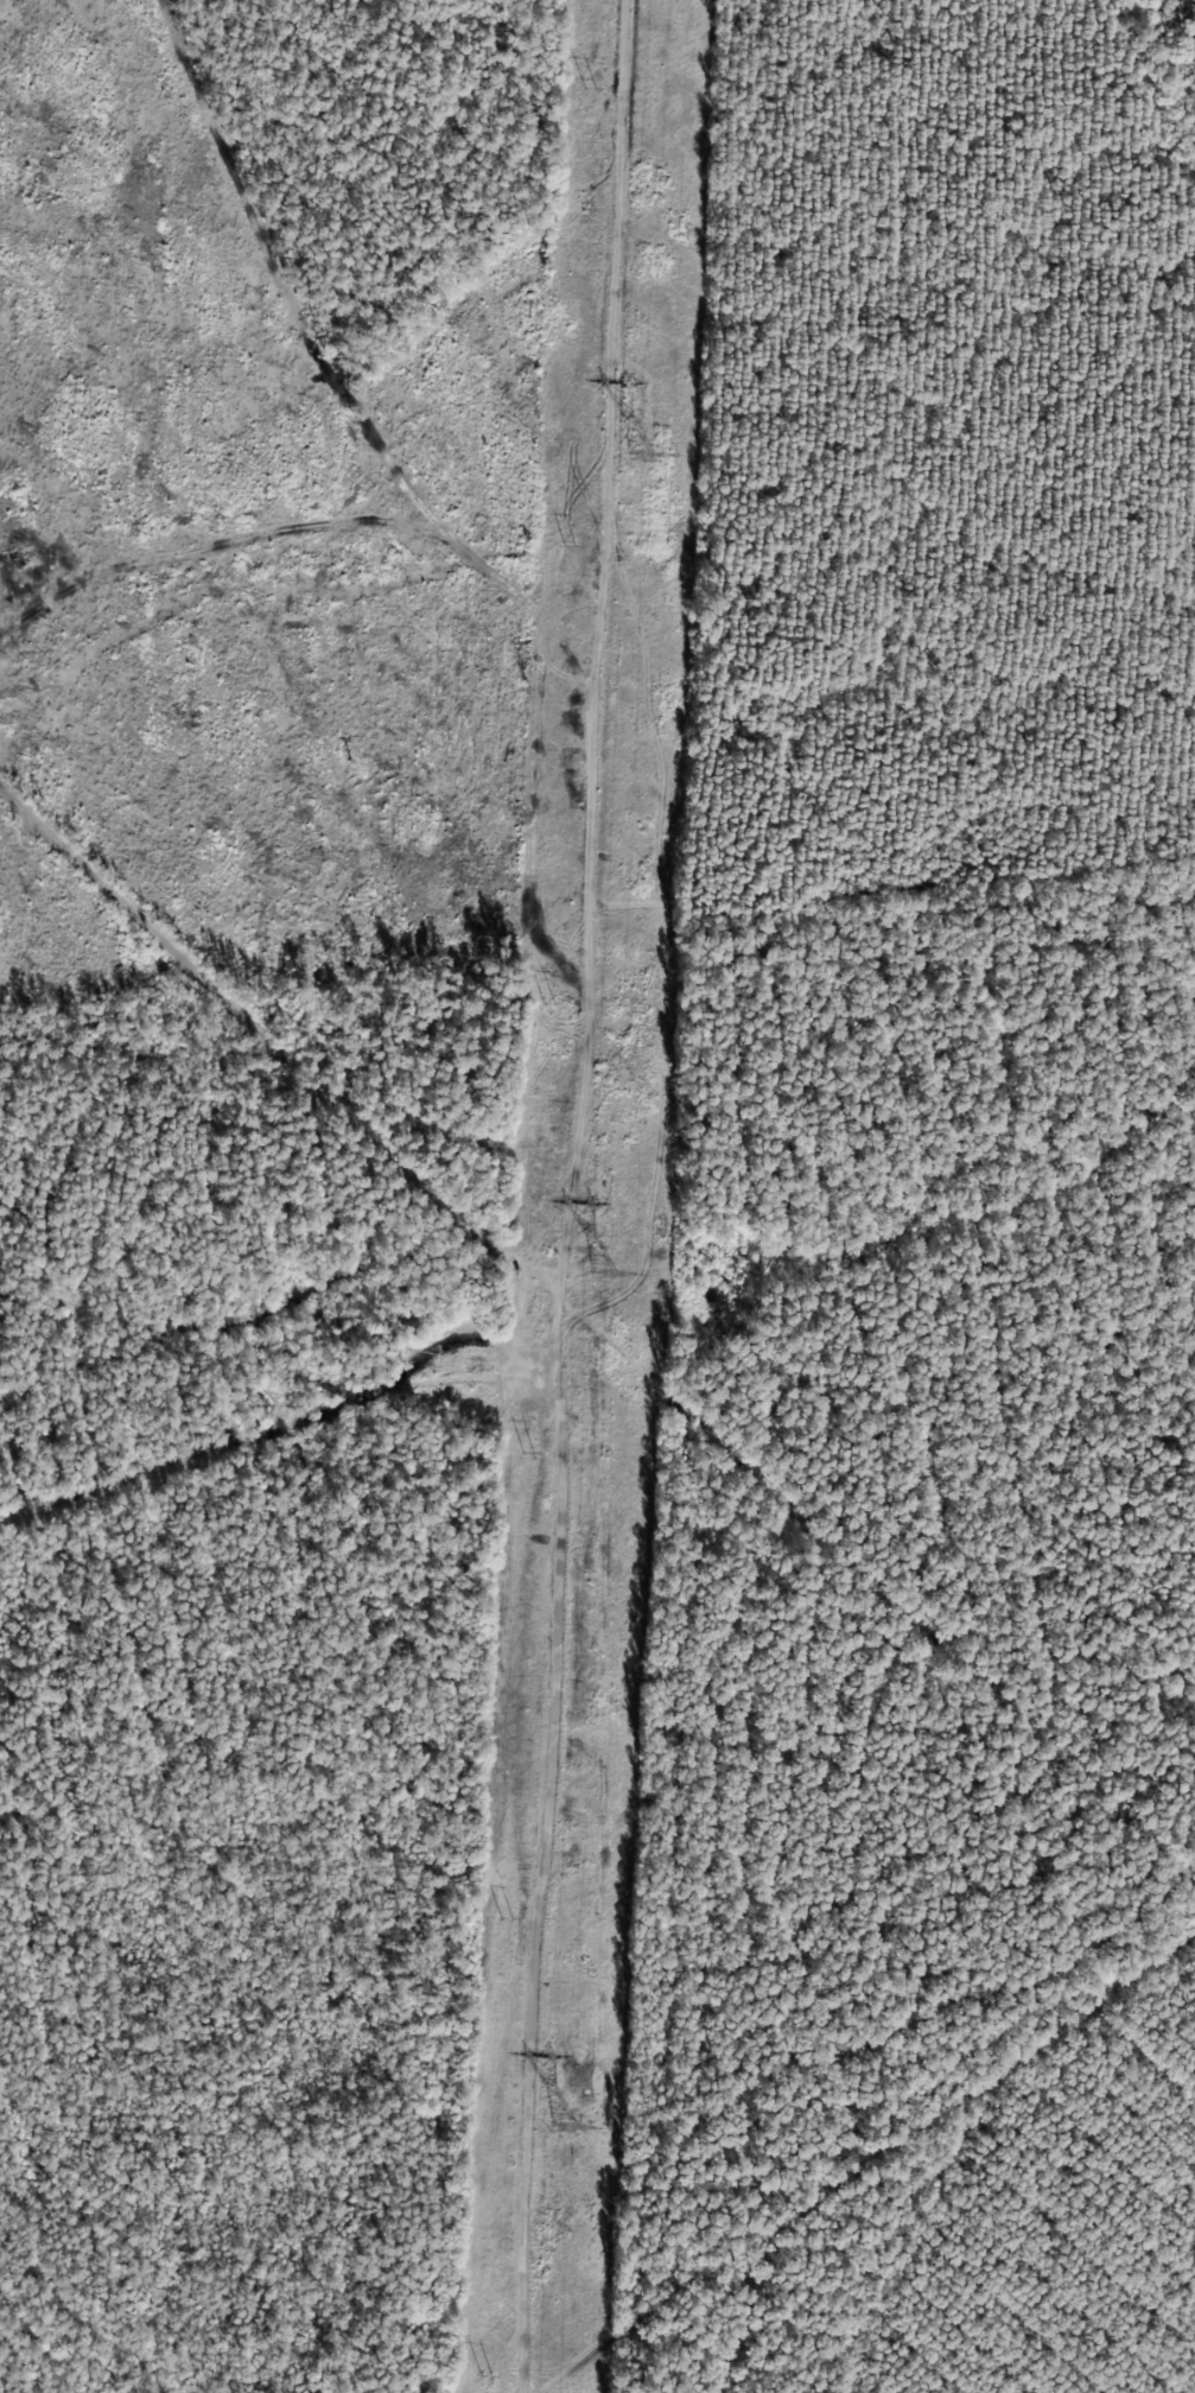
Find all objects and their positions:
power tower: (631, 453)
power tower: (597, 1274)
road: (170, 1328)
power tower: (555, 2132)

